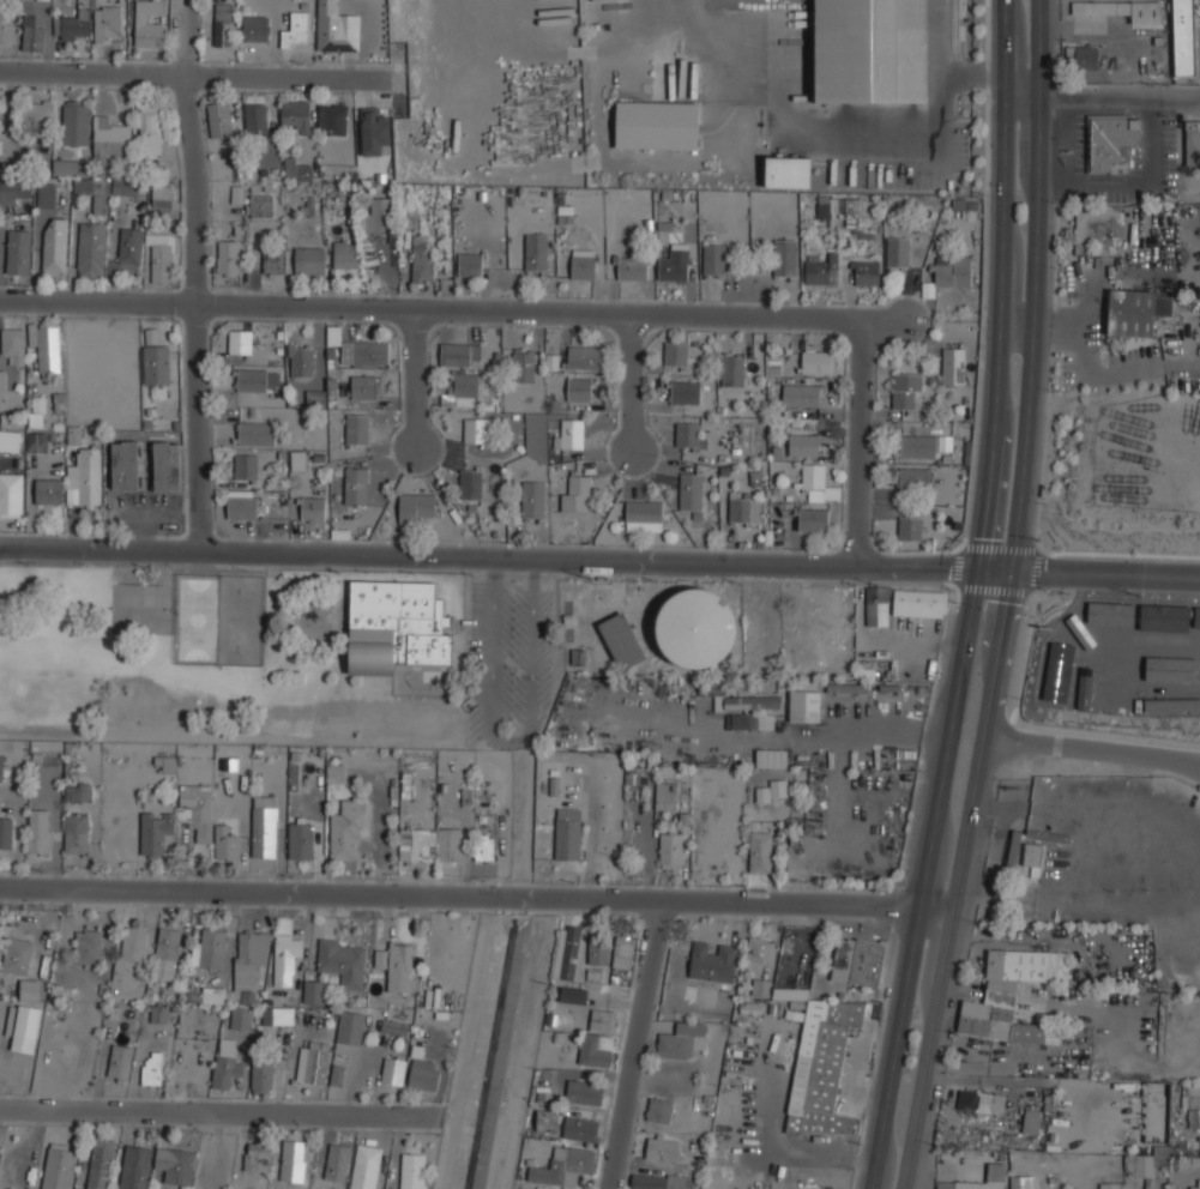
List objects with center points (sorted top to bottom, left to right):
building: (1122, 11)
building: (107, 23)
building: (147, 24)
building: (72, 25)
building: (223, 25)
building: (255, 29)
building: (296, 29)
building: (336, 29)
building: (6, 31)
building: (1183, 37)
building: (32, 38)
building: (872, 50)
building: (1086, 58)
road: (181, 74)
road: (1103, 97)
building: (35, 113)
building: (296, 115)
building: (255, 119)
building: (219, 120)
building: (332, 120)
building: (76, 121)
building: (657, 125)
building: (150, 128)
building: (374, 132)
building: (108, 138)
building: (1110, 141)
building: (1192, 143)
building: (68, 165)
building: (290, 167)
building: (303, 173)
building: (788, 173)
building: (102, 188)
building: (16, 191)
building: (46, 194)
building: (162, 195)
building: (261, 206)
building: (824, 206)
building: (376, 216)
building: (411, 219)
building: (54, 246)
building: (131, 248)
building: (91, 249)
building: (18, 251)
building: (536, 252)
building: (898, 252)
building: (344, 255)
building: (162, 258)
building: (229, 258)
building: (421, 258)
building: (785, 258)
building: (713, 259)
building: (309, 260)
building: (273, 262)
building: (583, 264)
building: (470, 265)
building: (674, 266)
building: (632, 268)
building: (822, 271)
building: (952, 271)
building: (866, 273)
road: (193, 279)
road: (1036, 285)
road: (453, 309)
building: (1135, 312)
road: (1019, 325)
building: (151, 336)
building: (333, 336)
building: (240, 340)
building: (13, 343)
building: (46, 344)
building: (363, 351)
building: (675, 354)
building: (458, 355)
building: (585, 356)
building: (300, 358)
building: (815, 361)
building: (156, 363)
building: (523, 364)
building: (953, 366)
road: (999, 368)
building: (731, 370)
building: (255, 379)
road: (417, 379)
road: (632, 382)
building: (2, 384)
building: (465, 384)
building: (362, 387)
building: (579, 388)
building: (905, 390)
building: (685, 391)
building: (801, 394)
building: (314, 396)
building: (1, 400)
building: (37, 411)
building: (356, 428)
building: (475, 429)
building: (257, 433)
building: (569, 433)
building: (688, 434)
building: (74, 435)
building: (10, 437)
road: (856, 441)
building: (37, 442)
building: (945, 443)
building: (802, 445)
building: (917, 446)
building: (297, 460)
building: (125, 464)
building: (167, 465)
building: (247, 466)
building: (813, 476)
building: (84, 478)
building: (913, 478)
building: (469, 483)
building: (356, 484)
building: (48, 490)
building: (11, 493)
building: (575, 493)
building: (692, 493)
building: (532, 497)
building: (242, 506)
building: (416, 507)
building: (743, 507)
building: (312, 508)
building: (644, 514)
building: (813, 518)
building: (910, 529)
road: (506, 559)
traffic signals: (978, 569)
traffic signals: (1013, 571)
road: (1106, 574)
building: (919, 602)
building: (876, 604)
building: (1104, 612)
building: (1164, 617)
building: (1196, 617)
building: (397, 627)
building: (695, 627)
storage tank: (695, 627)
building: (621, 639)
road: (999, 653)
park: (278, 656)
building: (1057, 672)
building: (1105, 686)
building: (848, 687)
building: (753, 701)
building: (804, 705)
building: (1171, 705)
building: (750, 722)
road: (509, 738)
road: (1092, 748)
building: (771, 756)
building: (168, 765)
building: (334, 772)
building: (773, 790)
building: (78, 791)
building: (665, 795)
building: (195, 809)
building: (264, 826)
building: (345, 831)
building: (6, 832)
building: (76, 832)
building: (153, 832)
building: (567, 833)
building: (38, 837)
building: (301, 840)
building: (224, 843)
building: (429, 844)
building: (484, 847)
building: (670, 850)
building: (1013, 850)
building: (760, 851)
building: (1032, 858)
road: (477, 895)
building: (88, 944)
building: (216, 948)
building: (566, 950)
building: (598, 950)
building: (761, 950)
building: (623, 952)
building: (165, 953)
building: (18, 955)
building: (287, 958)
building: (342, 960)
building: (129, 961)
building: (857, 961)
road: (910, 961)
building: (712, 962)
road: (943, 962)
building: (396, 965)
building: (246, 979)
building: (759, 986)
building: (314, 991)
building: (28, 992)
building: (573, 995)
building: (1013, 995)
building: (158, 1013)
building: (277, 1015)
building: (602, 1019)
building: (387, 1022)
building: (350, 1026)
building: (682, 1040)
road: (635, 1045)
building: (596, 1050)
building: (120, 1061)
building: (313, 1061)
building: (224, 1063)
building: (151, 1068)
building: (821, 1068)
building: (393, 1070)
building: (422, 1072)
building: (261, 1075)
building: (584, 1092)
building: (1190, 1096)
building: (1132, 1098)
building: (965, 1100)
building: (990, 1103)
building: (659, 1111)
road: (221, 1112)
building: (547, 1121)
building: (1031, 1121)
building: (1116, 1125)
building: (580, 1128)
building: (662, 1149)
building: (257, 1154)
building: (293, 1160)
building: (1186, 1161)
building: (100, 1163)
building: (337, 1163)
building: (1146, 1163)
building: (175, 1164)
building: (58, 1165)
building: (566, 1165)
building: (135, 1166)
building: (364, 1166)
building: (412, 1170)
building: (996, 1171)
building: (1021, 1182)
building: (1199, 1182)
building: (1115, 1185)

